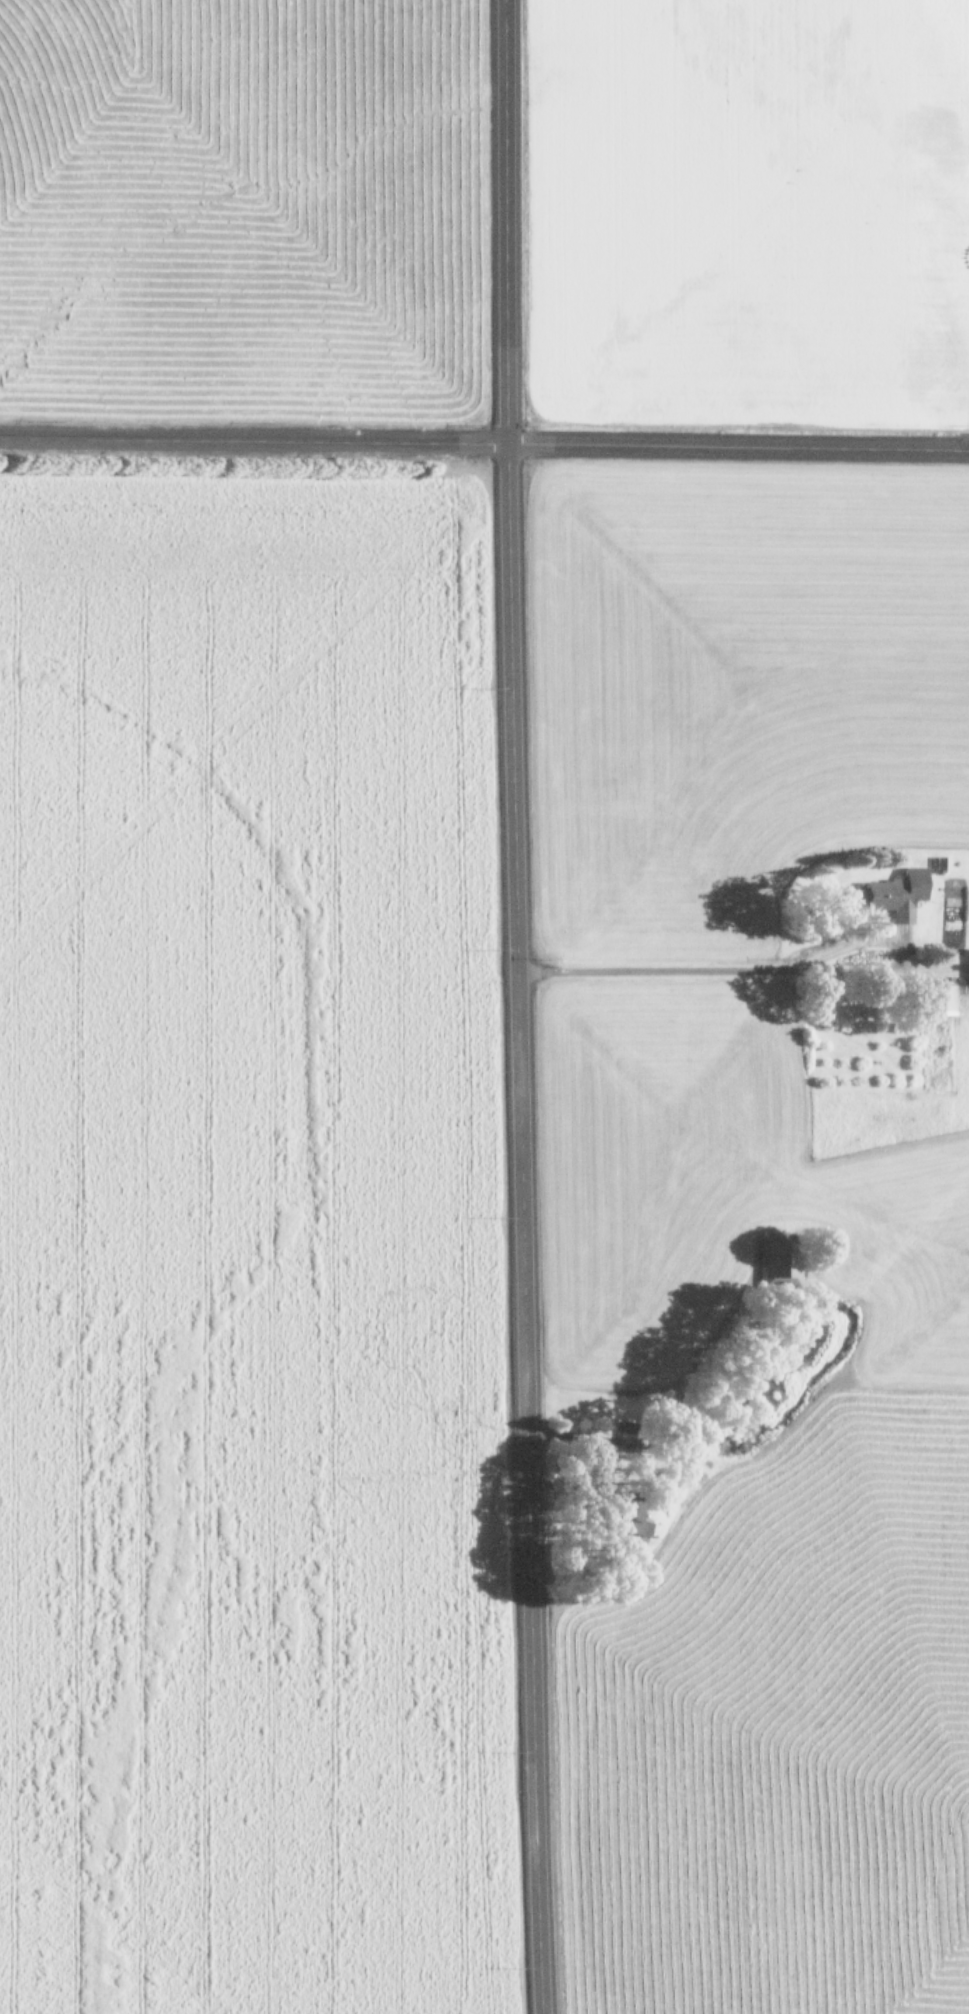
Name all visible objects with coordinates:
crop: (233, 206)
crop: (744, 211)
road: (484, 442)
building: (937, 862)
building: (891, 894)
building: (933, 999)
road: (506, 1007)
crop: (757, 1226)
crop: (247, 1246)
building: (774, 1266)
building: (630, 1526)

